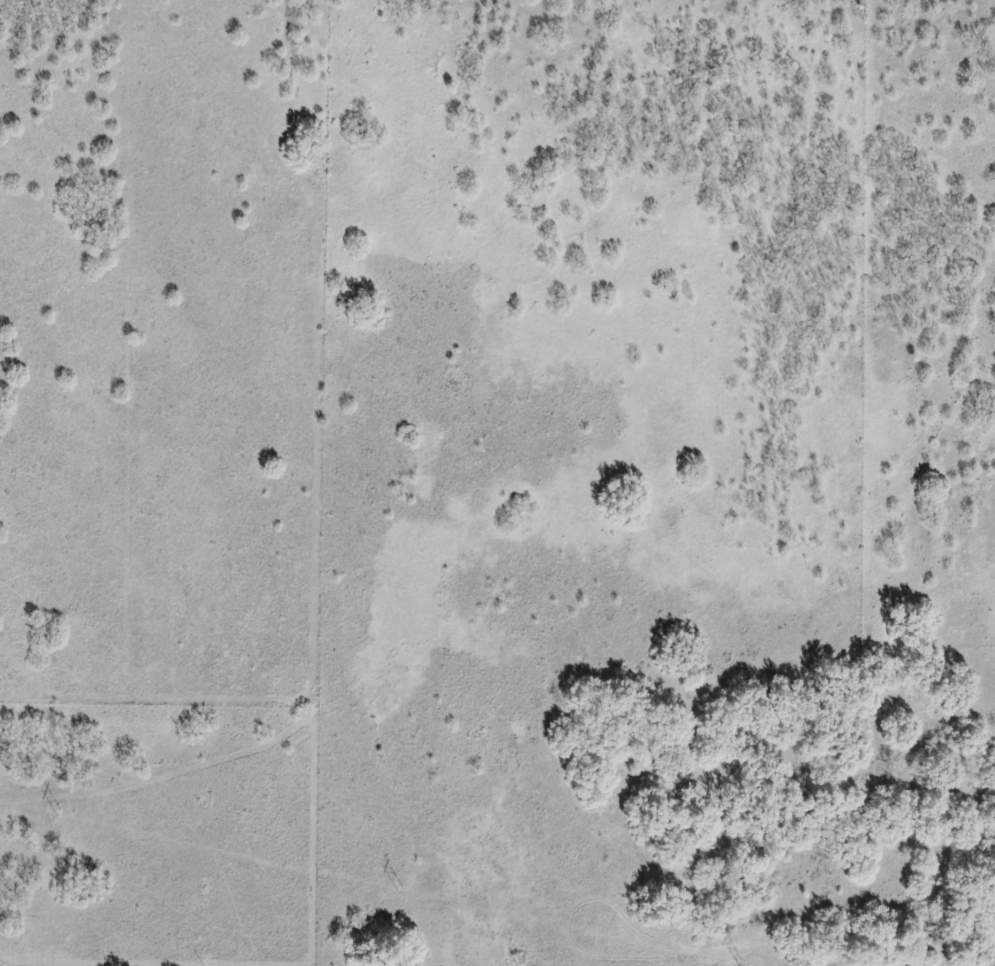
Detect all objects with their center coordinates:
power tower: (59, 816)
power tower: (398, 890)
power tower: (740, 965)

